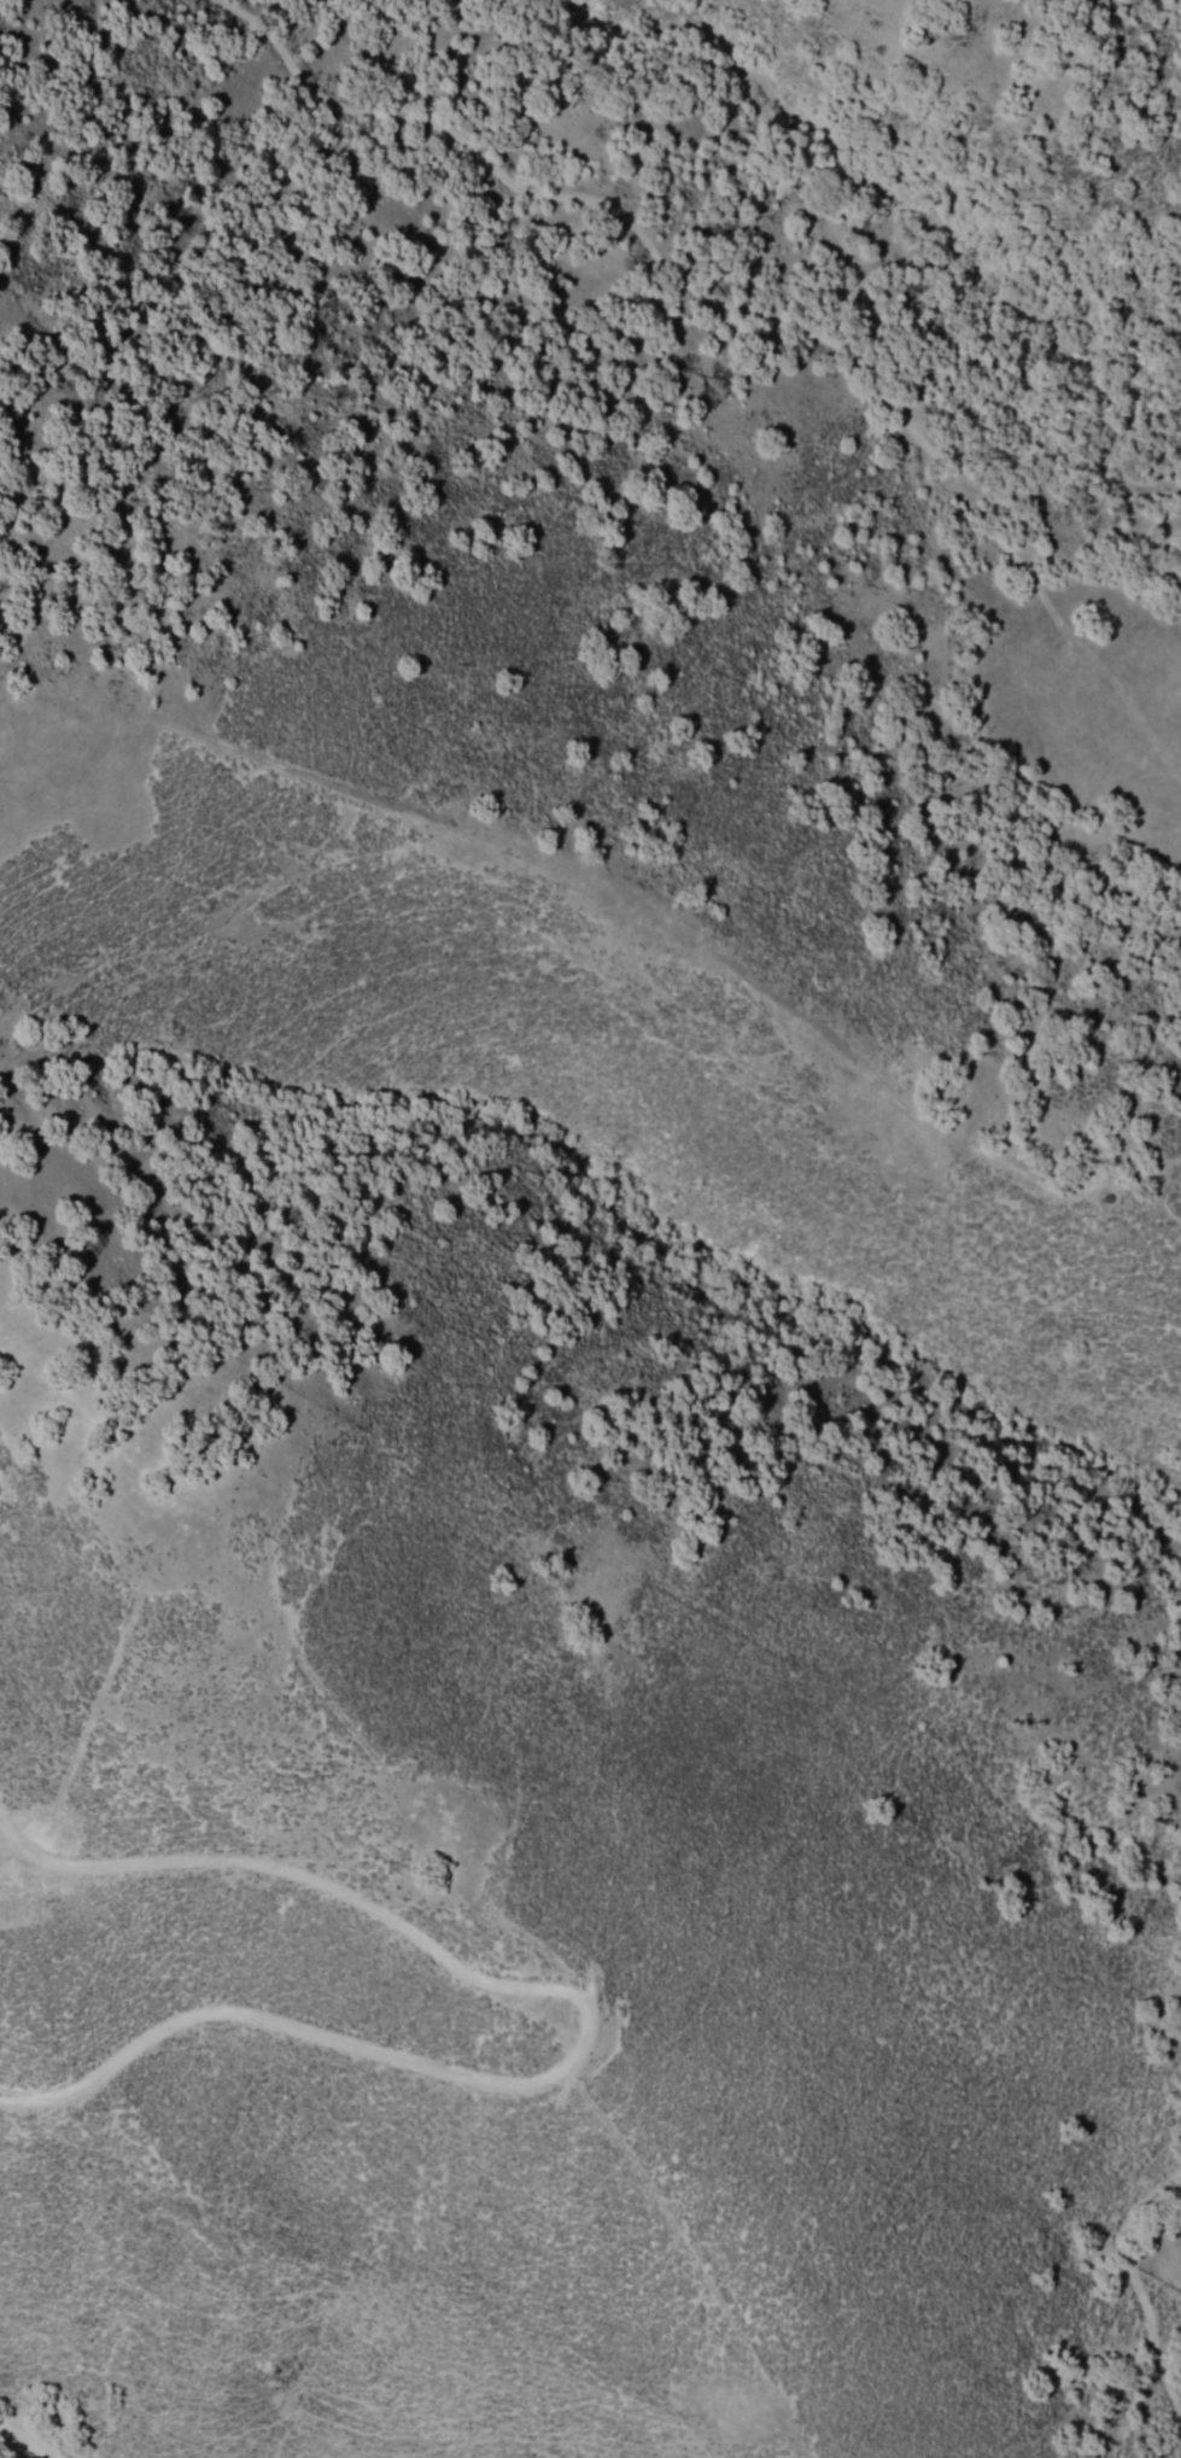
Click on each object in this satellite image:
road: (671, 281)
road: (568, 2032)
road: (17, 2446)

